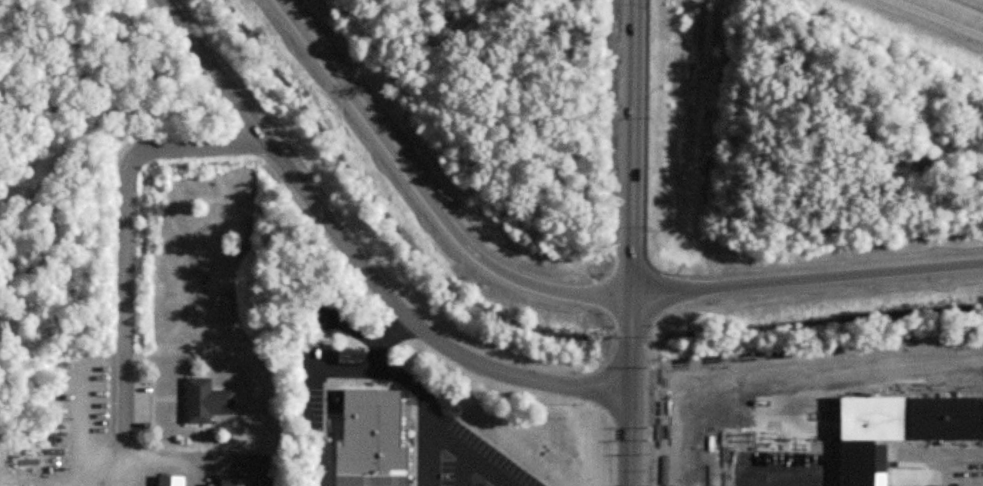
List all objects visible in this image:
road: (952, 12)
road: (108, 77)
road: (121, 106)
road: (426, 194)
road: (632, 243)
road: (355, 255)
road: (807, 278)
road: (121, 296)
road: (411, 383)
building: (207, 398)
building: (900, 430)
building: (372, 439)
road: (472, 464)
building: (959, 470)
building: (237, 482)
building: (946, 485)
building: (978, 485)

